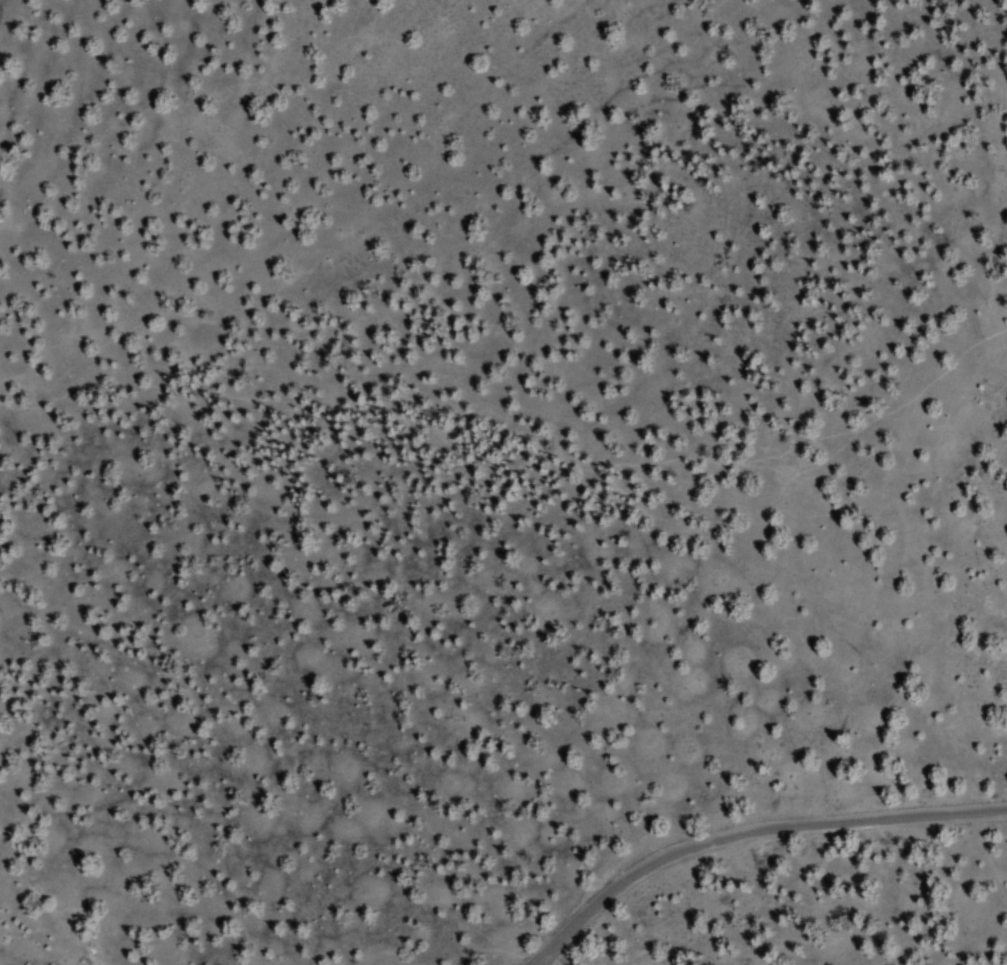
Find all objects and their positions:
road: (750, 833)

